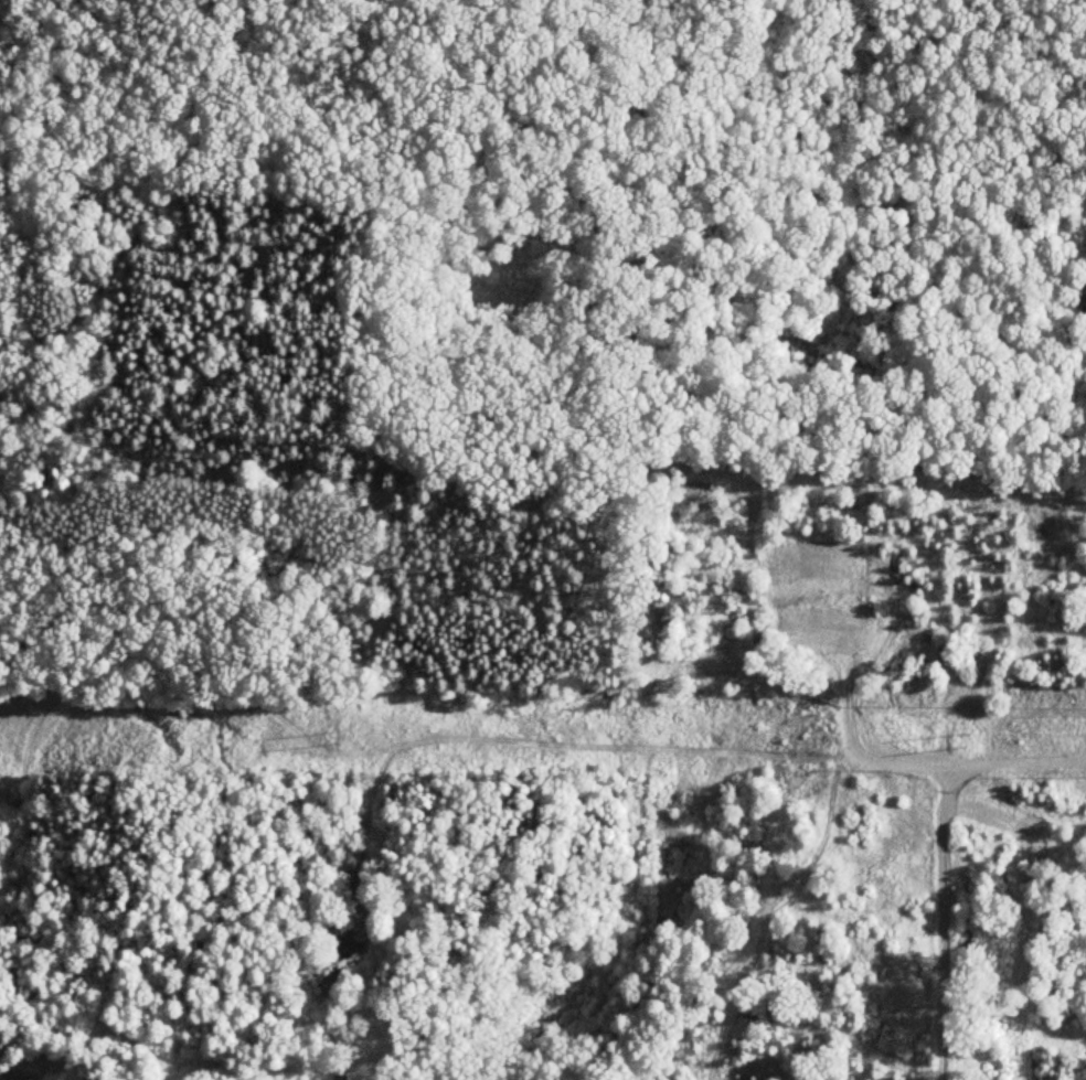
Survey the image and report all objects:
power tower: (340, 735)
power tower: (958, 741)
road: (199, 1061)

